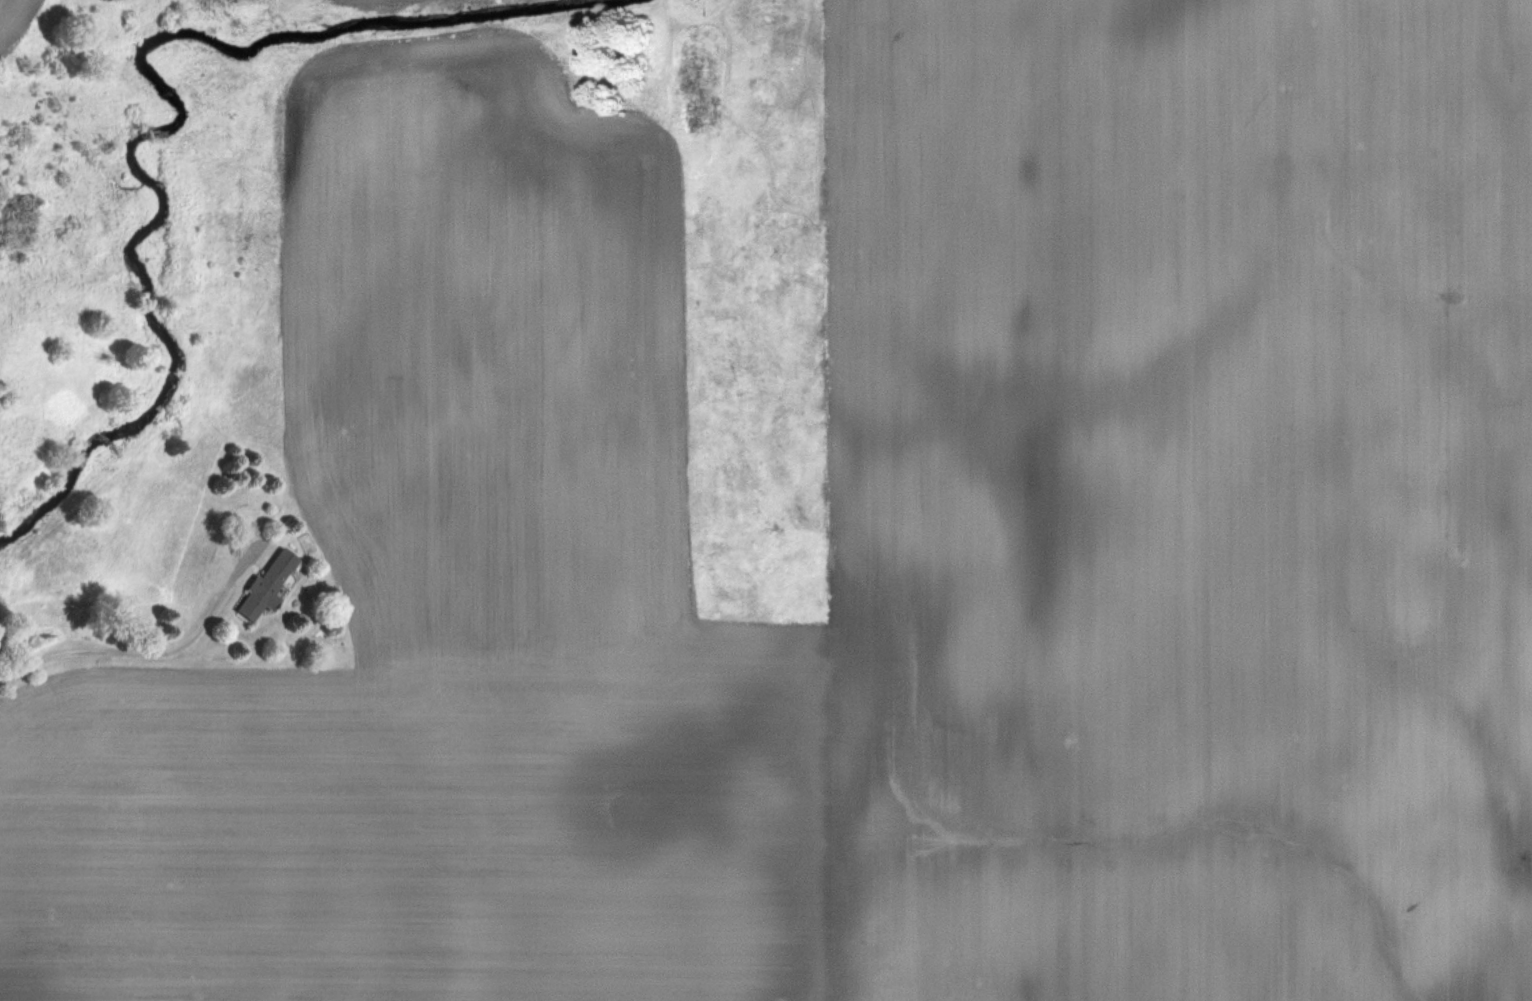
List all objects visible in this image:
crop: (873, 550)
building: (260, 584)
road: (150, 651)

